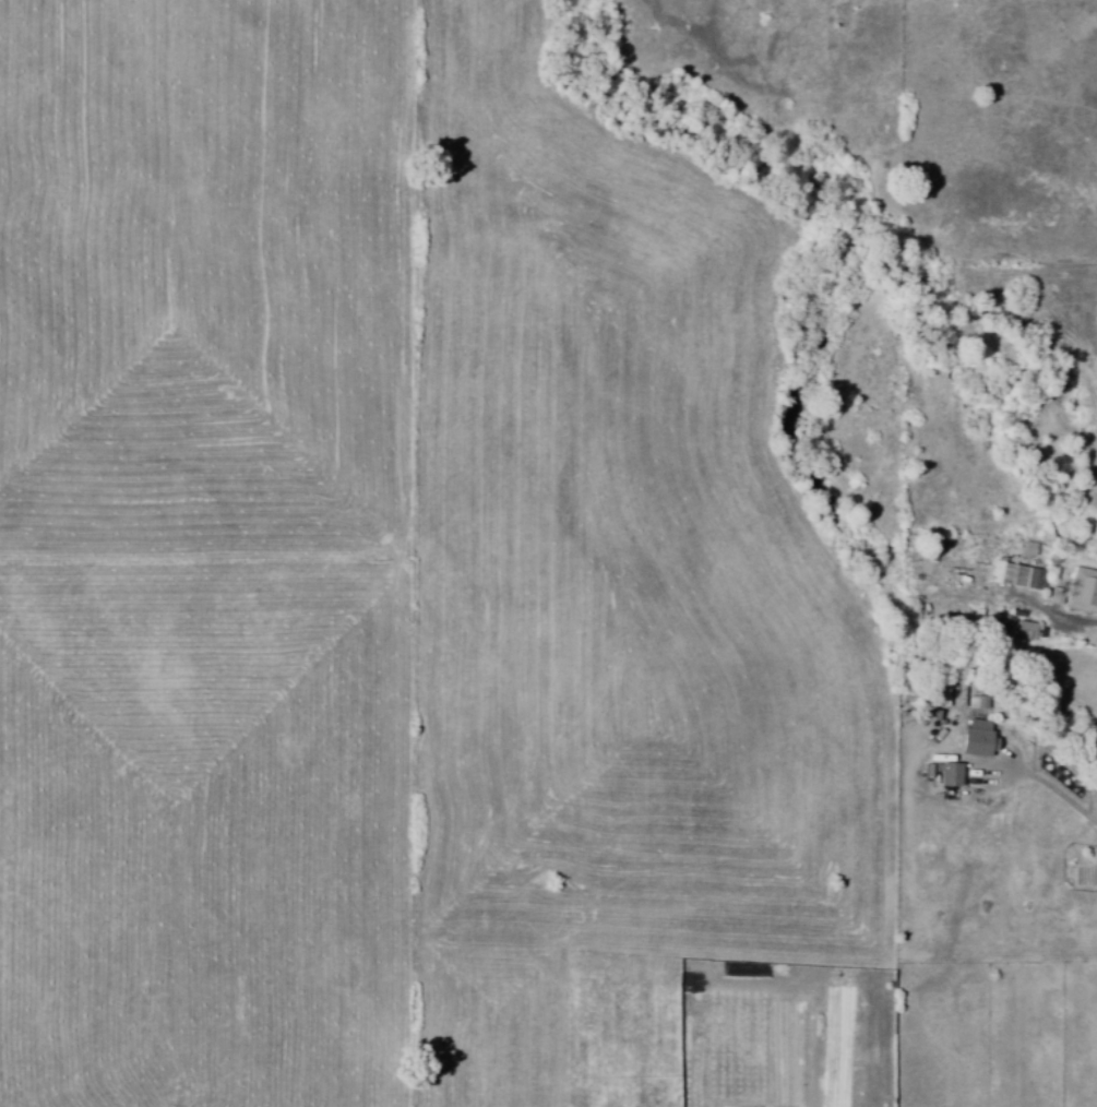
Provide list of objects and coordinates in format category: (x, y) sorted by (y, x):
building: (1015, 575)
building: (1082, 591)
building: (1053, 595)
road: (1094, 622)
building: (1018, 626)
building: (975, 738)
building: (949, 774)

